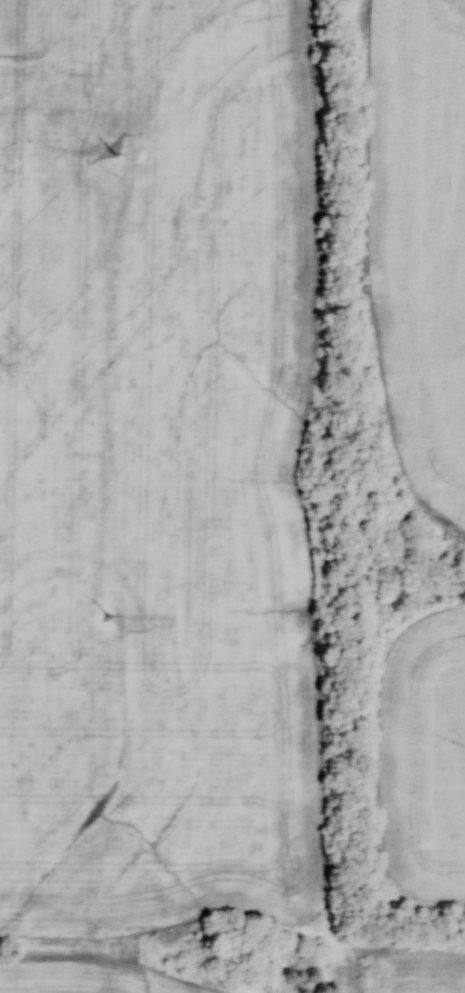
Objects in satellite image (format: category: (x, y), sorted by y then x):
power tower: (113, 156)
power tower: (106, 619)

